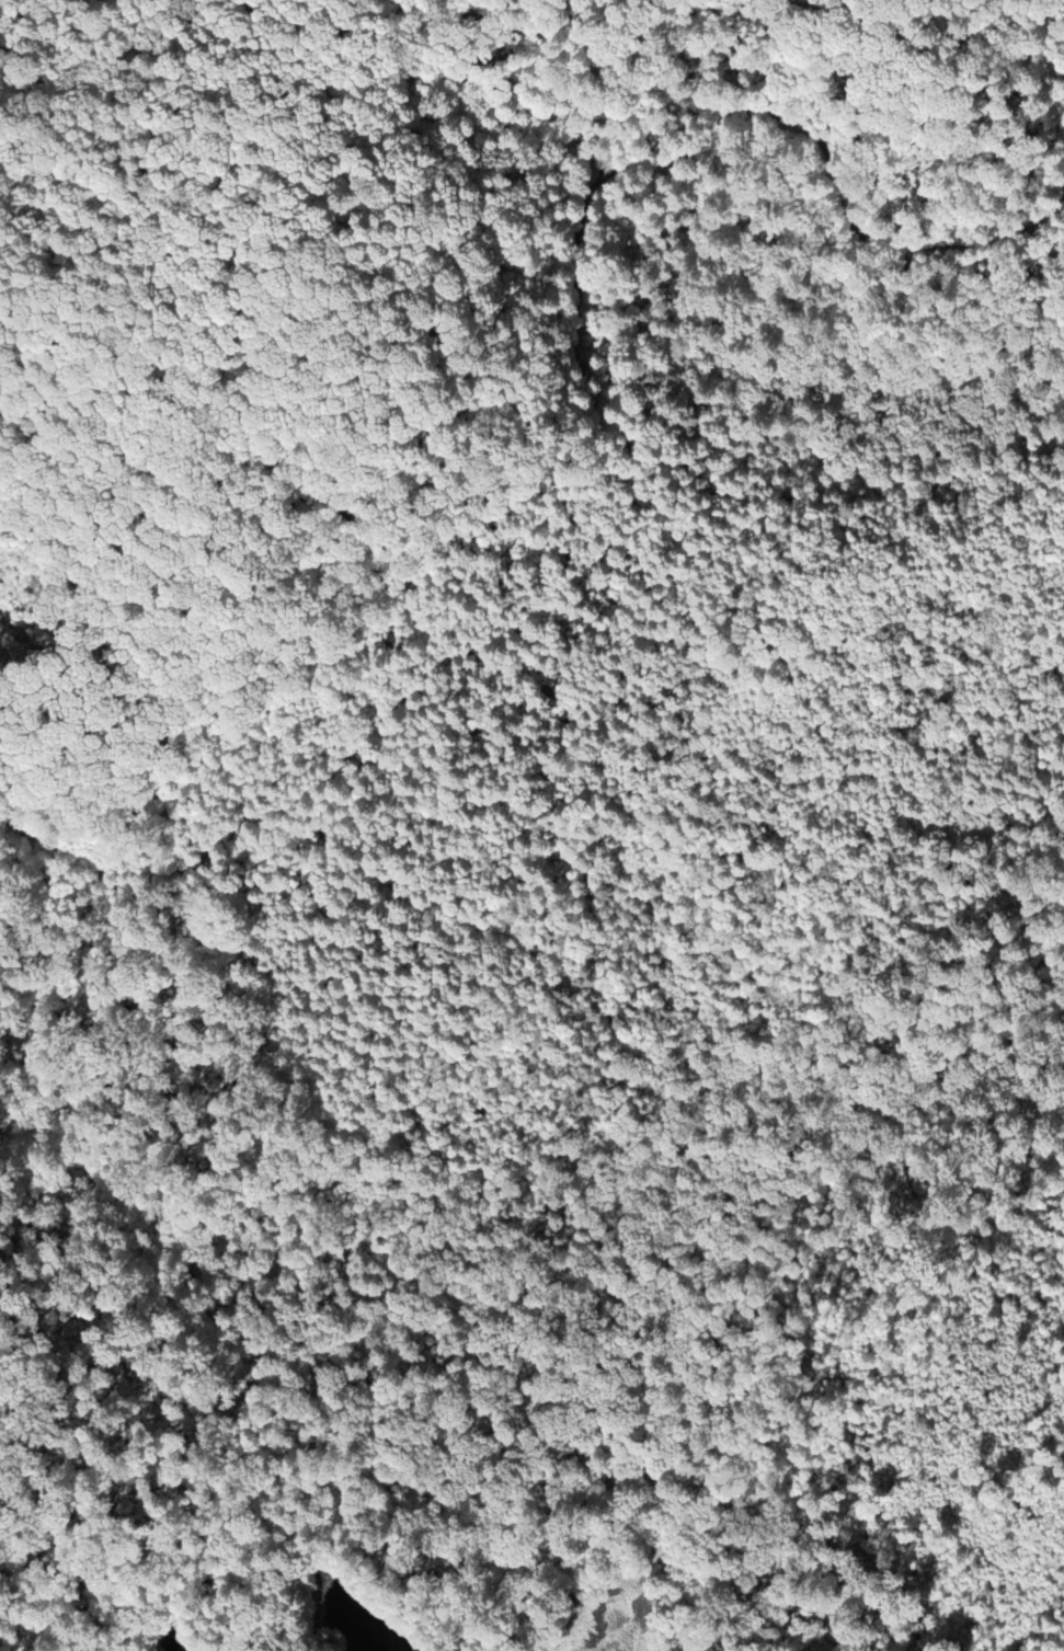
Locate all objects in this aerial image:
road: (629, 435)

